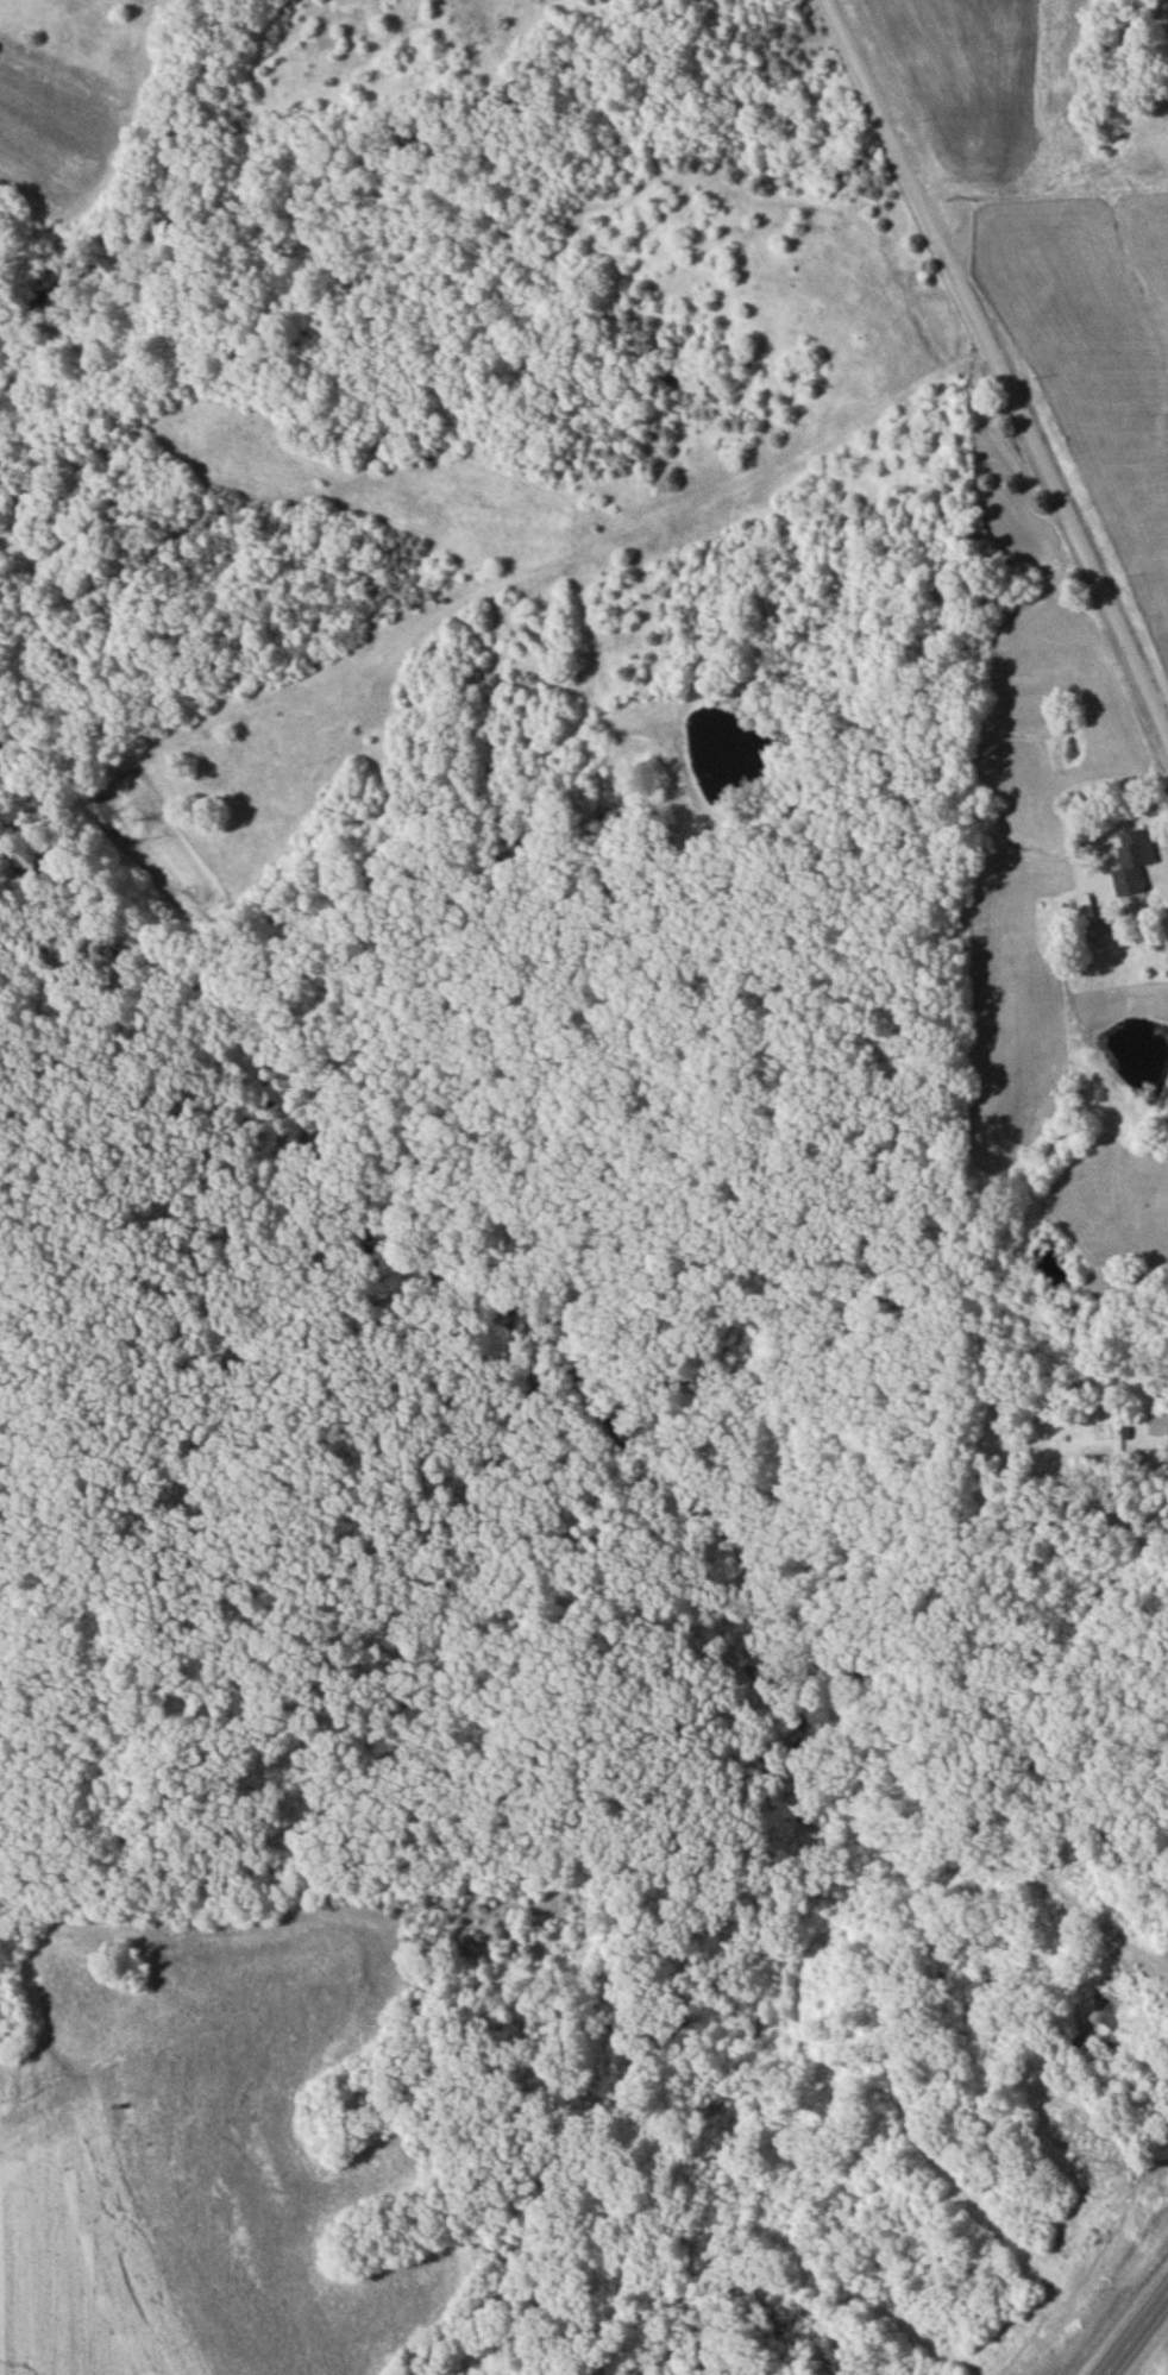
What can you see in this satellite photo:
road: (998, 367)
building: (1132, 862)
road: (1137, 2333)

